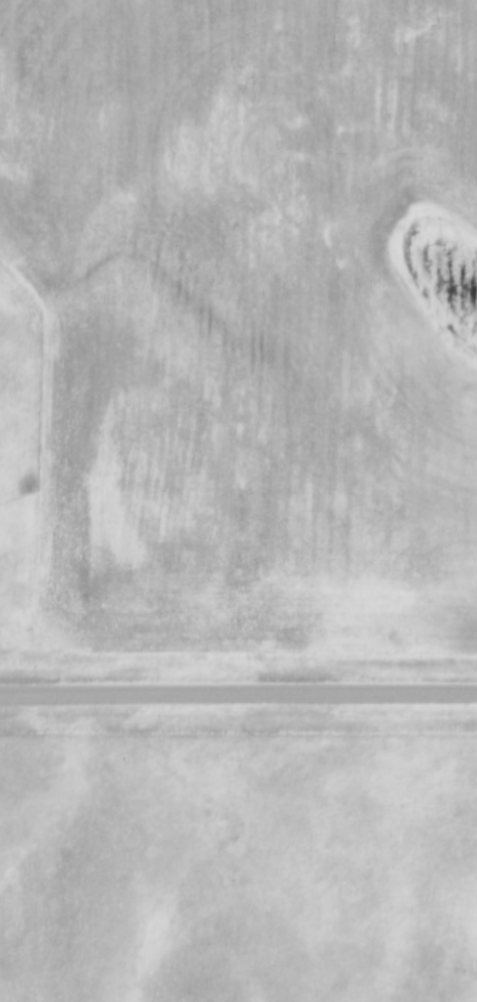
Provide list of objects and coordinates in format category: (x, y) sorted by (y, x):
road: (238, 694)

